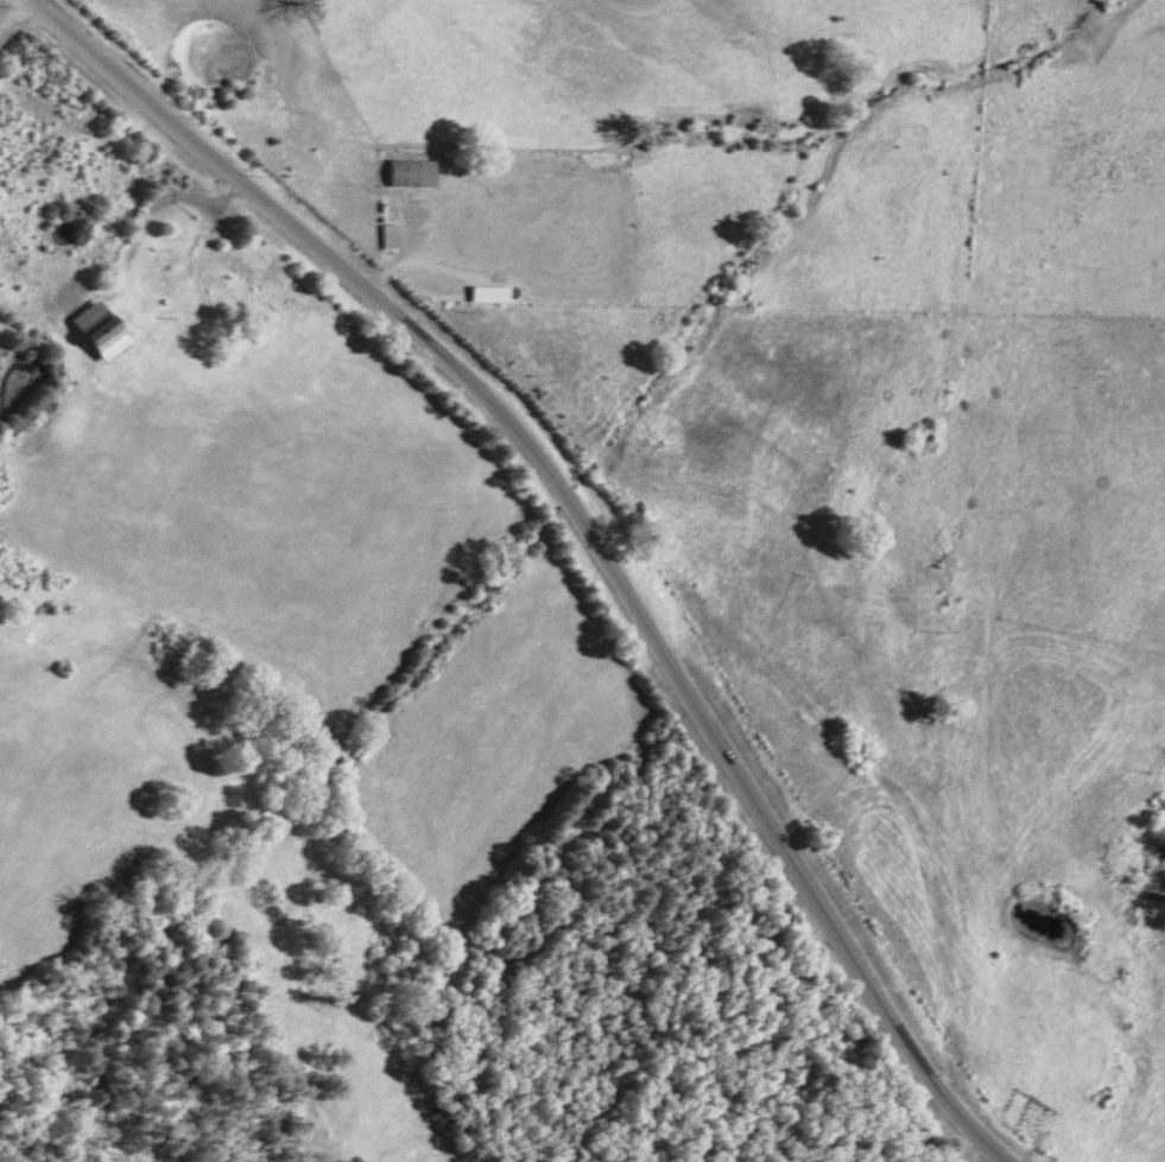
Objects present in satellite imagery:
road: (15, 11)
road: (57, 23)
building: (419, 171)
road: (162, 202)
building: (106, 329)
road: (596, 557)

